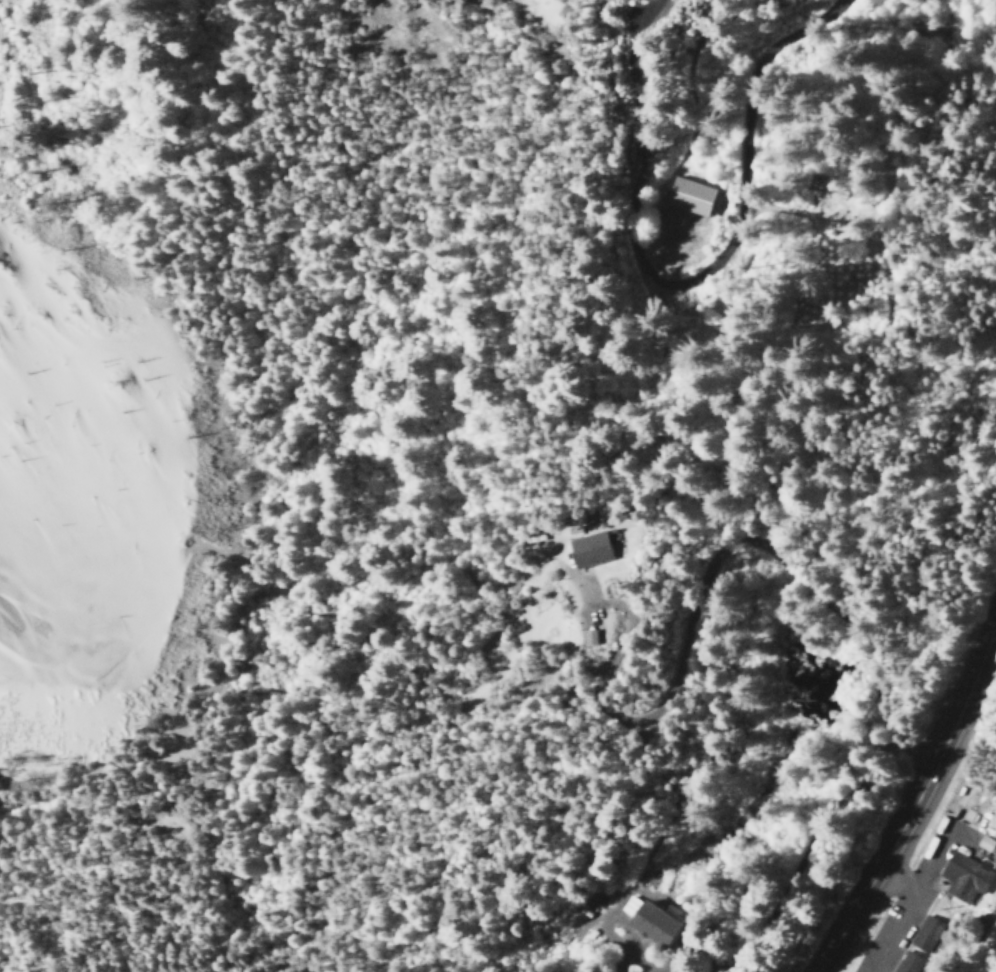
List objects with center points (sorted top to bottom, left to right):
building: (688, 194)
road: (743, 536)
building: (585, 548)
road: (907, 807)
building: (984, 842)
building: (966, 871)
building: (651, 923)
building: (907, 962)

